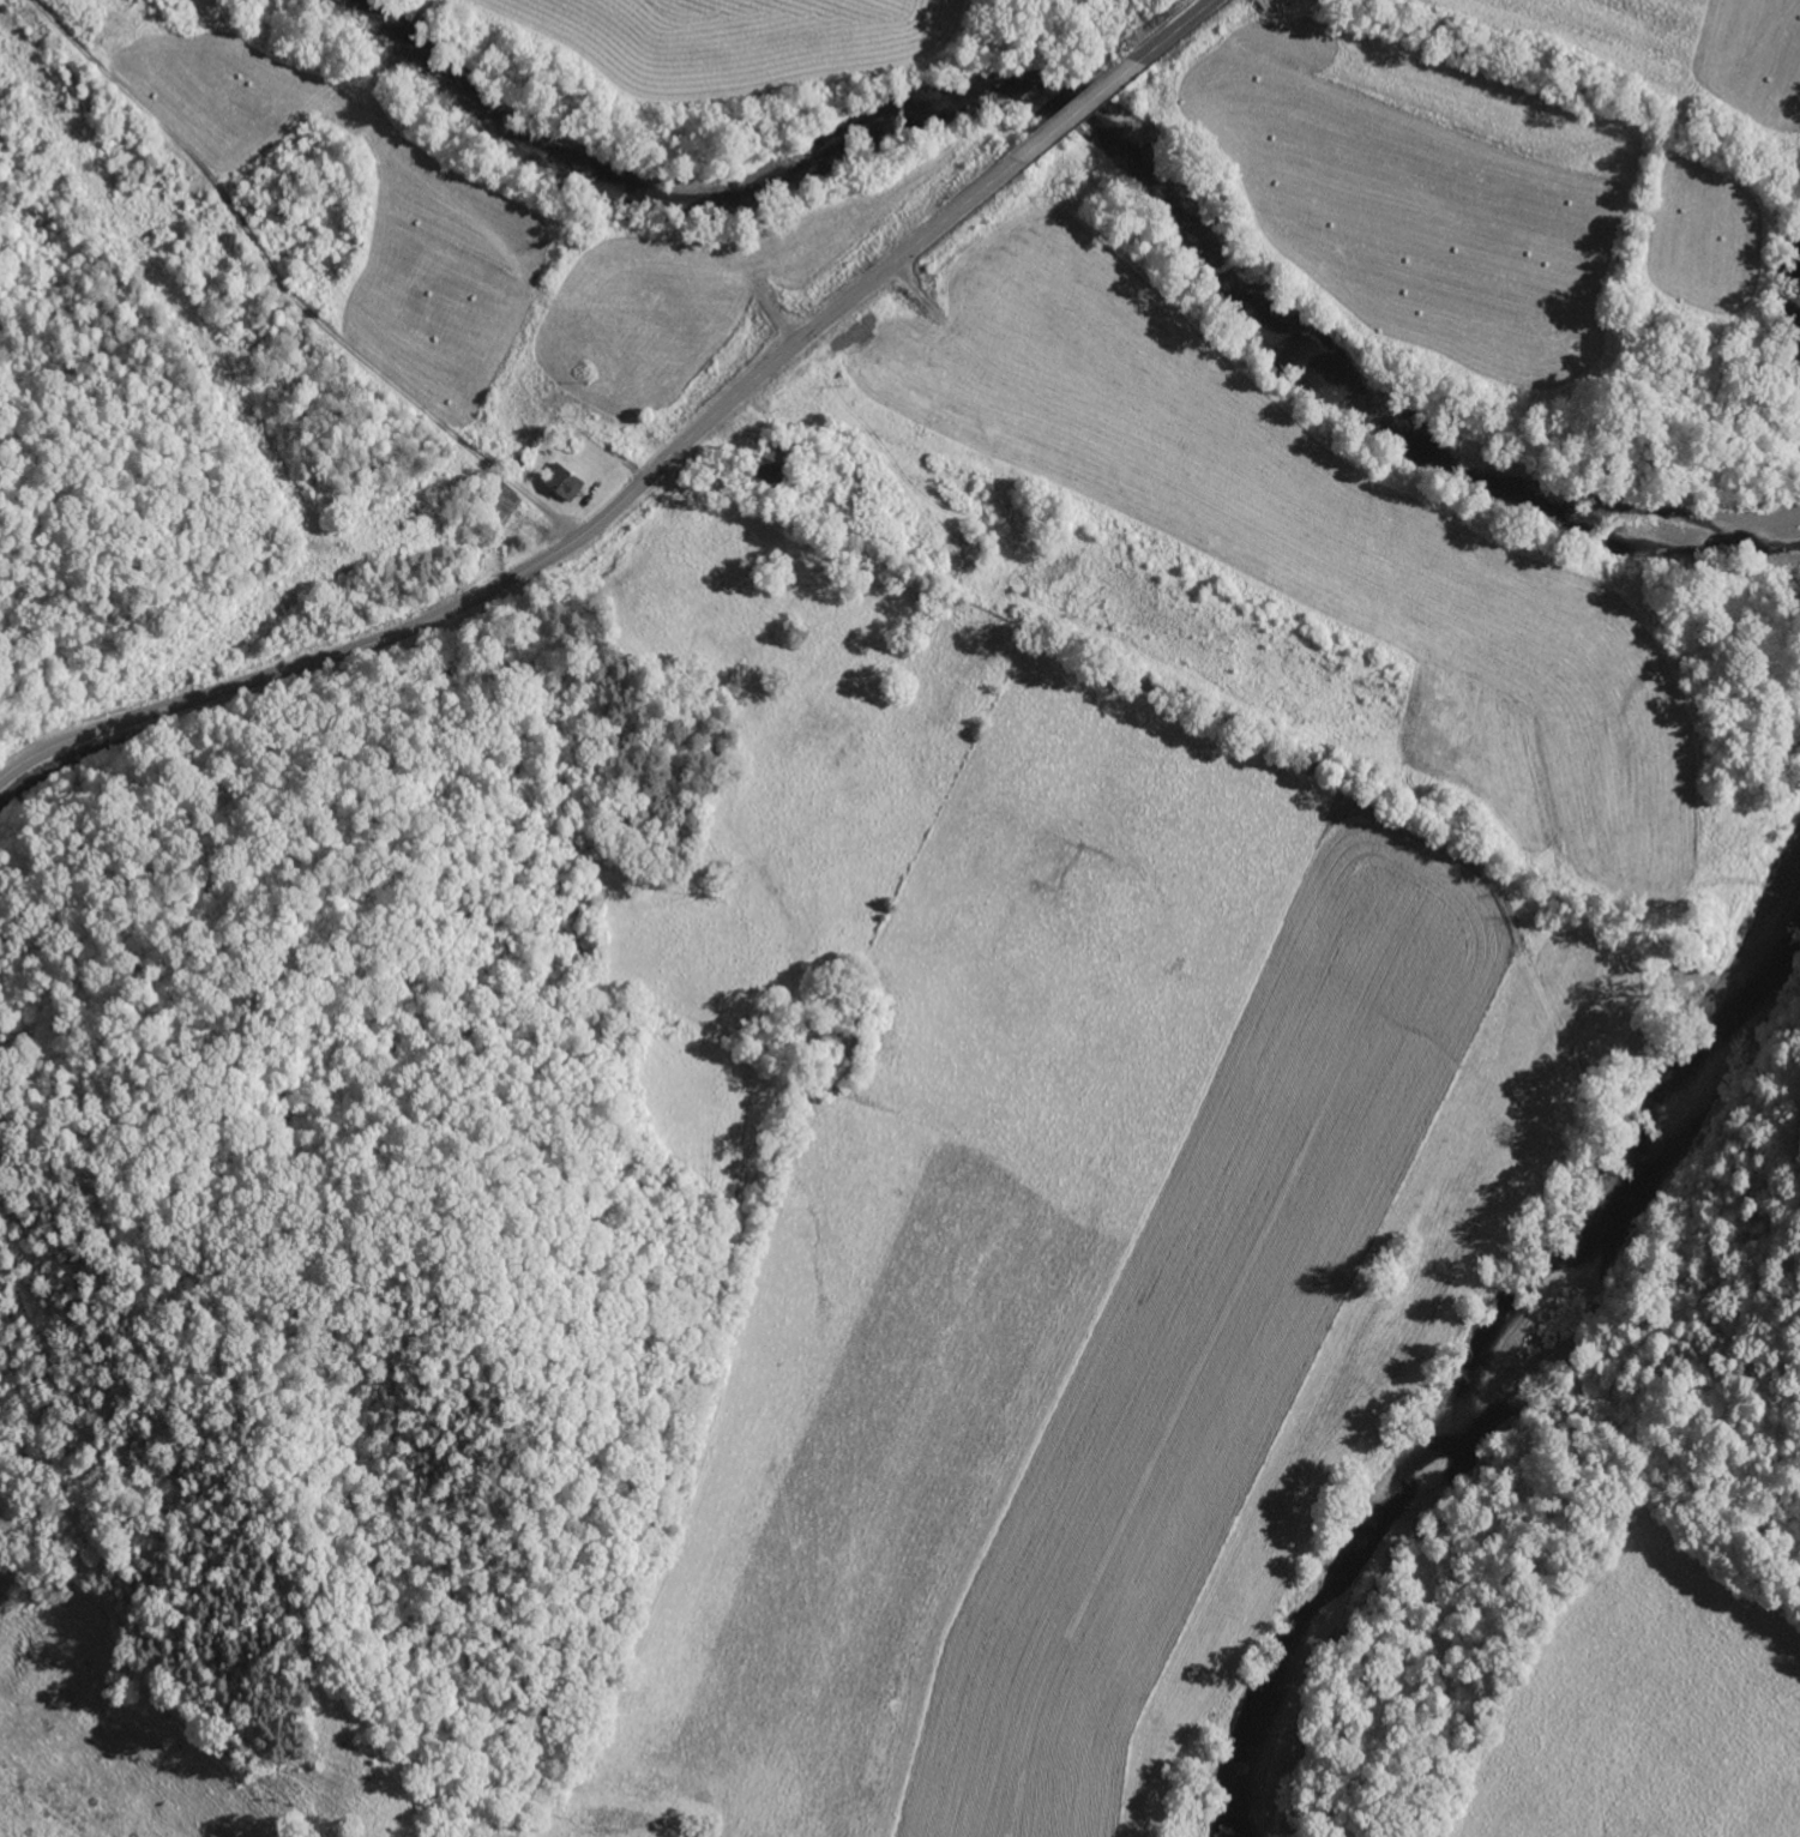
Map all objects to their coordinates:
road: (616, 158)
road: (654, 470)
building: (561, 486)

